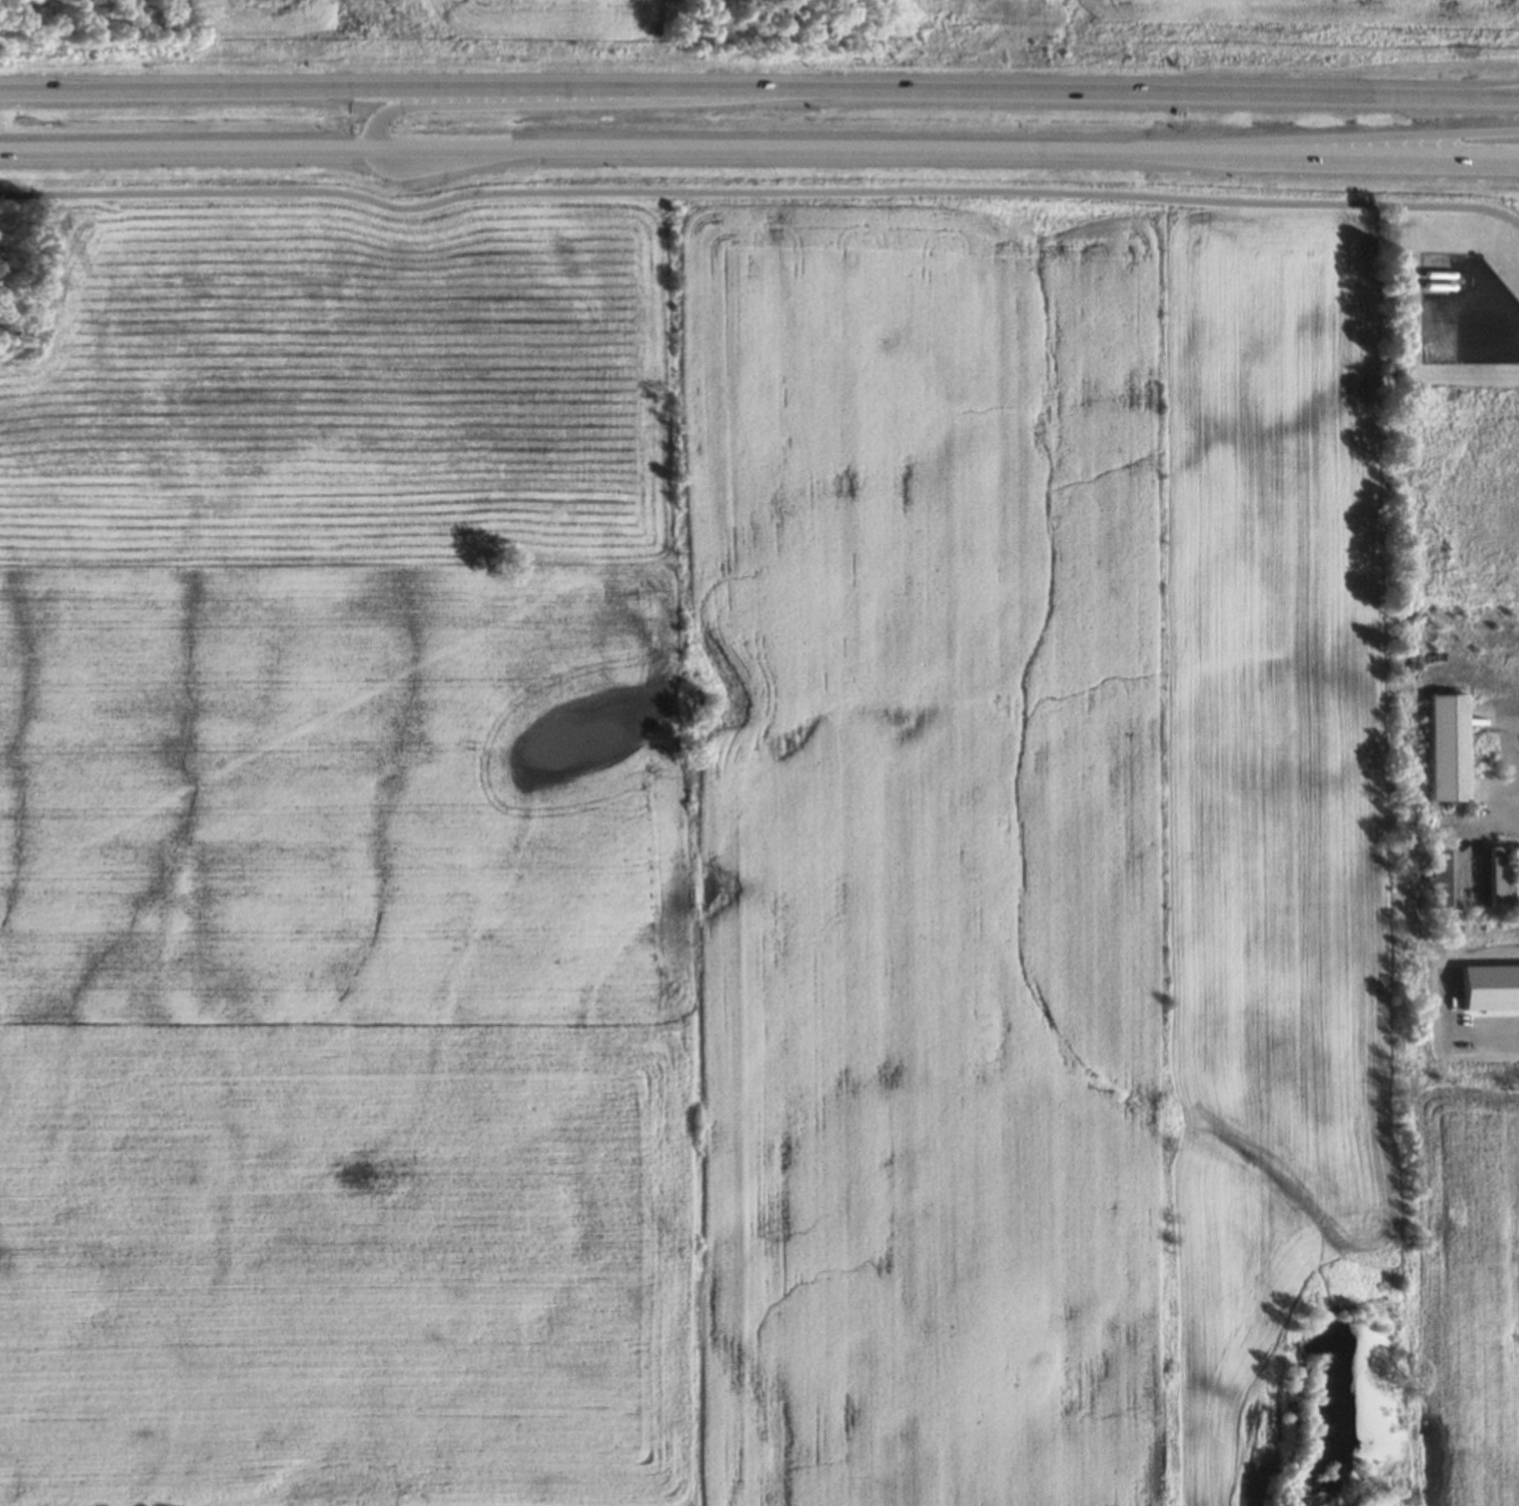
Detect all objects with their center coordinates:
road: (759, 89)
road: (575, 98)
road: (1319, 138)
road: (759, 148)
road: (760, 192)
building: (1451, 747)
building: (1516, 876)
building: (1443, 877)
building: (1499, 877)

